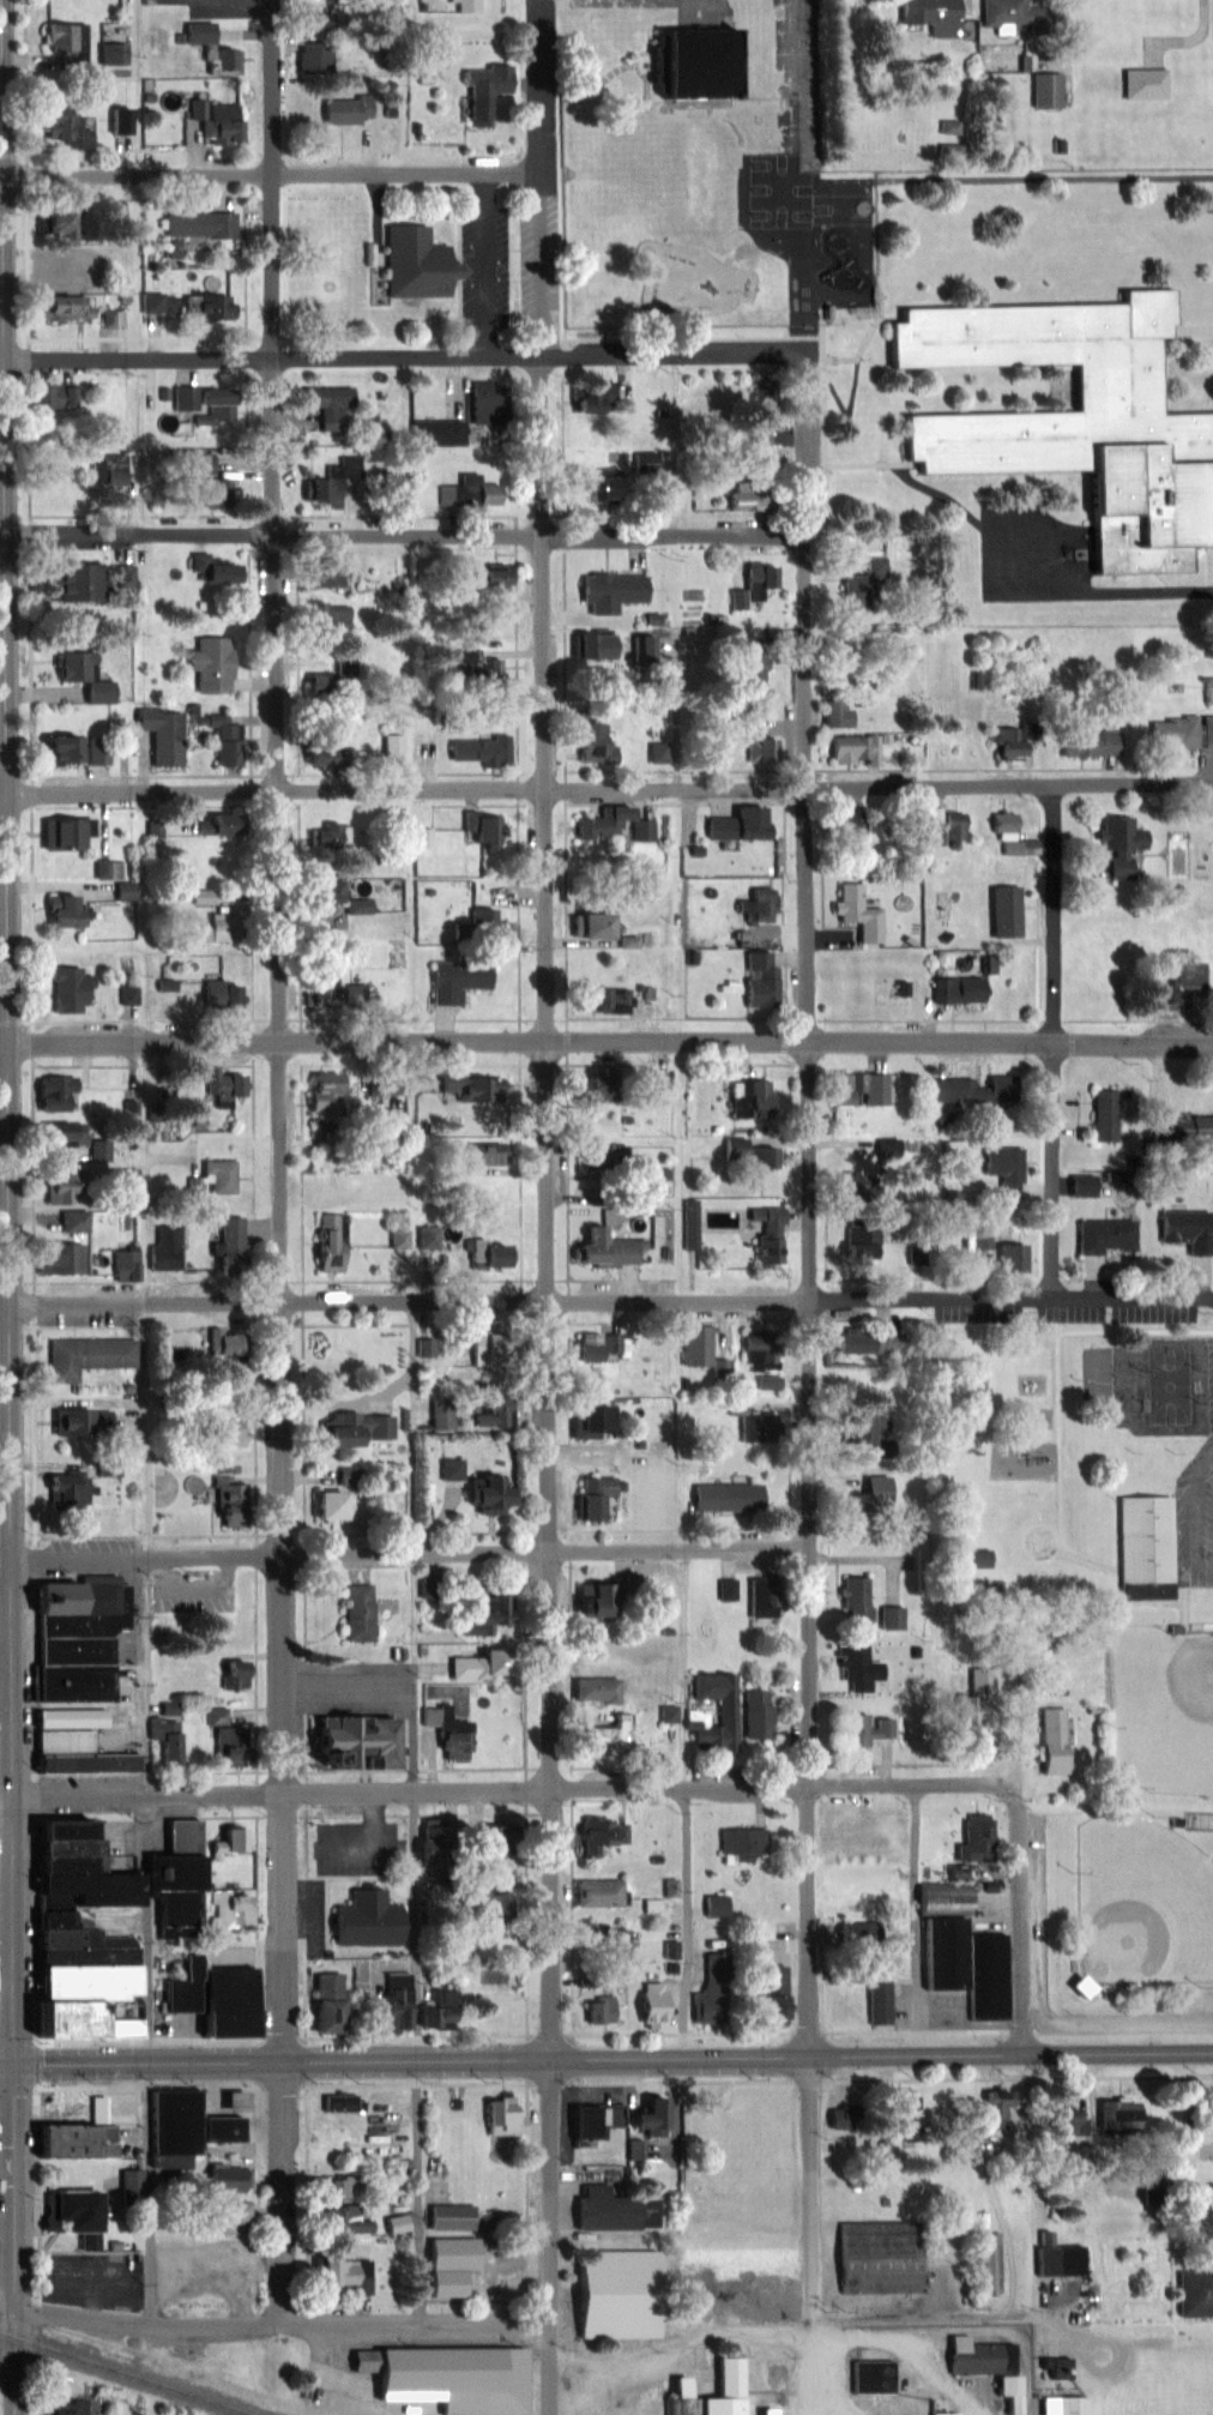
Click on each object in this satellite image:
building: (466, 5)
building: (1015, 12)
building: (931, 13)
road: (1189, 37)
building: (72, 43)
building: (218, 49)
building: (320, 58)
building: (1142, 83)
building: (475, 86)
building: (1046, 90)
building: (354, 110)
building: (122, 120)
building: (230, 122)
building: (74, 127)
road: (272, 175)
road: (1, 192)
building: (68, 222)
building: (206, 224)
building: (410, 263)
road: (483, 265)
building: (217, 307)
building: (74, 308)
road: (404, 360)
road: (2, 362)
building: (64, 397)
building: (589, 398)
building: (212, 403)
building: (326, 404)
building: (1079, 420)
building: (436, 434)
building: (122, 463)
building: (227, 482)
building: (327, 486)
building: (595, 487)
building: (467, 495)
building: (731, 499)
road: (405, 534)
road: (2, 537)
building: (216, 566)
building: (322, 571)
building: (867, 576)
building: (484, 578)
building: (86, 582)
building: (755, 582)
building: (610, 589)
road: (1102, 592)
building: (320, 610)
building: (592, 646)
building: (209, 662)
building: (344, 667)
building: (748, 669)
building: (92, 675)
building: (483, 675)
building: (837, 716)
building: (1181, 731)
building: (162, 733)
building: (392, 743)
building: (596, 745)
building: (1088, 745)
building: (1008, 746)
building: (321, 748)
building: (851, 748)
building: (477, 749)
building: (71, 751)
building: (761, 751)
road: (610, 790)
road: (4, 793)
building: (601, 824)
building: (736, 825)
building: (947, 826)
building: (845, 830)
building: (1004, 830)
building: (56, 832)
building: (325, 836)
building: (423, 837)
building: (1117, 844)
building: (201, 897)
building: (320, 897)
building: (755, 909)
building: (60, 910)
building: (856, 913)
building: (1002, 913)
building: (483, 920)
building: (591, 927)
building: (396, 956)
building: (1188, 975)
building: (455, 977)
building: (759, 981)
building: (319, 984)
building: (62, 988)
building: (958, 990)
building: (216, 993)
building: (355, 994)
building: (601, 999)
road: (808, 1026)
road: (548, 1029)
road: (279, 1030)
road: (8, 1031)
road: (611, 1043)
road: (1055, 1043)
road: (5, 1047)
building: (381, 1084)
building: (656, 1085)
building: (322, 1086)
building: (470, 1086)
building: (838, 1088)
building: (876, 1088)
building: (974, 1089)
building: (223, 1090)
building: (55, 1092)
building: (755, 1098)
building: (1104, 1114)
building: (1183, 1130)
building: (53, 1134)
building: (483, 1154)
building: (606, 1155)
building: (760, 1156)
building: (1003, 1168)
road: (138, 1175)
building: (216, 1175)
building: (55, 1185)
building: (71, 1219)
building: (1185, 1229)
building: (1104, 1234)
building: (426, 1236)
building: (399, 1237)
building: (768, 1237)
building: (227, 1242)
building: (327, 1242)
building: (855, 1243)
building: (602, 1248)
building: (487, 1253)
building: (56, 1257)
building: (1008, 1258)
building: (123, 1264)
road: (611, 1300)
road: (5, 1305)
building: (862, 1341)
building: (694, 1344)
building: (590, 1345)
building: (83, 1356)
building: (766, 1380)
building: (490, 1413)
building: (589, 1419)
building: (79, 1422)
building: (864, 1427)
building: (355, 1428)
road: (140, 1432)
building: (219, 1432)
building: (227, 1486)
building: (473, 1486)
building: (65, 1488)
building: (591, 1495)
building: (871, 1496)
building: (328, 1505)
road: (410, 1556)
building: (1145, 1558)
road: (5, 1562)
building: (597, 1598)
building: (855, 1598)
building: (759, 1600)
building: (357, 1612)
building: (477, 1615)
building: (891, 1618)
road: (6, 1661)
building: (470, 1666)
building: (855, 1668)
road: (683, 1672)
road: (146, 1678)
building: (71, 1681)
road: (393, 1688)
building: (593, 1690)
park: (1164, 1706)
building: (711, 1712)
building: (756, 1714)
building: (67, 1717)
building: (865, 1729)
building: (165, 1732)
building: (1050, 1739)
building: (60, 1741)
building: (227, 1741)
building: (107, 1763)
road: (515, 1791)
road: (6, 1800)
building: (847, 1832)
building: (599, 1833)
building: (230, 1838)
building: (741, 1844)
road: (414, 1850)
building: (670, 1886)
building: (595, 1892)
building: (491, 1902)
park: (1143, 1903)
building: (716, 1904)
building: (364, 1919)
road: (915, 1920)
road: (687, 1923)
road: (1020, 1925)
road: (6, 1929)
building: (847, 1931)
building: (605, 1935)
building: (939, 1953)
building: (90, 1986)
building: (877, 1991)
building: (770, 1994)
building: (324, 2003)
building: (646, 2003)
building: (598, 2009)
building: (436, 2011)
building: (393, 2016)
road: (612, 2056)
road: (6, 2064)
building: (994, 2104)
building: (1212, 2113)
building: (1118, 2114)
building: (646, 2115)
building: (577, 2121)
building: (1067, 2121)
building: (895, 2125)
building: (501, 2126)
building: (89, 2140)
building: (1, 2160)
building: (223, 2178)
road: (980, 2178)
building: (332, 2186)
road: (411, 2191)
road: (814, 2191)
road: (285, 2192)
road: (143, 2194)
road: (7, 2203)
building: (90, 2211)
building: (618, 2212)
building: (1109, 2214)
building: (223, 2215)
building: (448, 2217)
building: (343, 2221)
building: (394, 2223)
road: (550, 2235)
road: (16, 2239)
building: (1055, 2260)
building: (988, 2262)
building: (446, 2268)
building: (343, 2272)
building: (905, 2278)
road: (7, 2288)
building: (615, 2294)
building: (1194, 2295)
building: (758, 2302)
road: (1013, 2315)
road: (282, 2325)
road: (681, 2344)
road: (910, 2348)
road: (7, 2351)
building: (972, 2359)
road: (821, 2371)
railway: (127, 2372)
building: (449, 2377)
building: (726, 2386)
building: (1004, 2386)
building: (1062, 2405)
building: (941, 2407)
building: (76, 2408)

